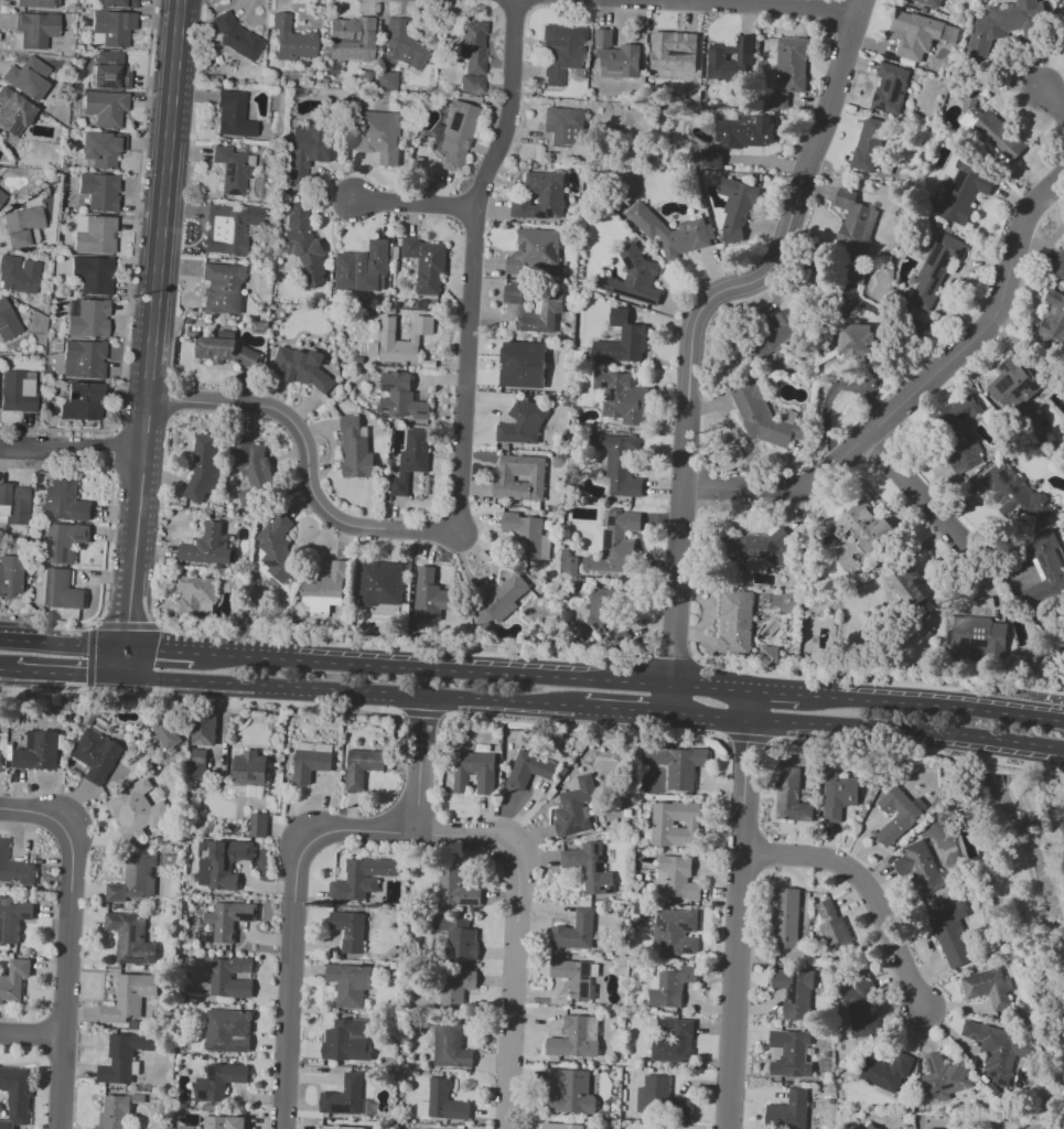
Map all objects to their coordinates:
road: (0, 2)
building: (931, 2)
building: (37, 3)
building: (119, 3)
road: (785, 3)
building: (1009, 18)
building: (112, 28)
building: (36, 29)
rooftop solar panel: (948, 30)
building: (236, 36)
building: (916, 36)
building: (290, 40)
building: (1063, 42)
building: (354, 44)
building: (404, 45)
building: (473, 47)
building: (1063, 50)
building: (670, 53)
building: (617, 54)
building: (563, 55)
building: (718, 62)
building: (792, 64)
building: (110, 72)
rooftop solar panel: (115, 75)
rooftop solar panel: (95, 77)
building: (28, 78)
building: (386, 83)
rooftop solar panel: (104, 85)
building: (471, 85)
building: (890, 86)
building: (778, 100)
road: (1053, 101)
building: (106, 107)
building: (970, 107)
building: (13, 111)
building: (230, 116)
building: (563, 126)
rooftop solar panel: (437, 131)
building: (744, 131)
building: (455, 132)
building: (377, 135)
building: (1000, 138)
building: (868, 144)
building: (100, 150)
building: (307, 150)
building: (712, 159)
rooftop solar panel: (229, 170)
building: (230, 170)
building: (100, 191)
rooftop solar panel: (230, 191)
building: (963, 191)
building: (540, 195)
building: (2, 196)
road: (163, 198)
building: (735, 198)
road: (413, 202)
building: (856, 215)
building: (23, 226)
building: (230, 229)
building: (673, 232)
building: (95, 234)
building: (303, 244)
rooftop solar panel: (524, 247)
rooftop solar panel: (551, 251)
building: (537, 252)
road: (472, 261)
building: (426, 264)
building: (1060, 266)
building: (364, 267)
building: (937, 269)
road: (131, 272)
building: (94, 273)
building: (19, 275)
building: (633, 277)
road: (949, 281)
building: (855, 283)
building: (222, 289)
rooftop solar panel: (637, 295)
building: (536, 309)
building: (1055, 310)
building: (88, 318)
building: (8, 321)
road: (694, 327)
building: (778, 332)
building: (401, 334)
building: (856, 340)
building: (622, 341)
building: (226, 351)
building: (84, 358)
building: (525, 366)
rooftop solar panel: (1006, 367)
building: (305, 369)
rooftop solar panel: (605, 383)
rooftop solar panel: (1008, 383)
rooftop solar panel: (1027, 386)
road: (915, 390)
building: (1018, 390)
building: (19, 391)
road: (830, 391)
rooftop solar panel: (612, 394)
building: (45, 396)
building: (622, 397)
building: (405, 398)
building: (82, 400)
building: (760, 415)
building: (523, 423)
road: (733, 431)
building: (959, 431)
rooftop solar panel: (975, 445)
road: (73, 449)
building: (357, 449)
road: (111, 451)
road: (305, 459)
building: (411, 460)
building: (617, 465)
building: (203, 467)
building: (255, 470)
rooftop solar panel: (1003, 472)
building: (519, 479)
rooftop solar panel: (1014, 491)
building: (40, 494)
road: (917, 495)
building: (65, 502)
building: (14, 504)
rooftop solar panel: (611, 519)
building: (864, 526)
building: (528, 534)
road: (137, 537)
rooftop solar panel: (609, 538)
road: (108, 540)
building: (64, 541)
building: (615, 542)
building: (208, 546)
building: (277, 547)
building: (761, 547)
rooftop solar panel: (1040, 559)
rooftop solar panel: (272, 563)
building: (569, 564)
building: (1050, 569)
building: (11, 574)
building: (381, 581)
building: (907, 587)
building: (57, 589)
building: (325, 590)
building: (196, 593)
building: (429, 595)
building: (505, 598)
building: (608, 613)
building: (735, 621)
traffic signals: (128, 622)
road: (93, 624)
building: (977, 638)
road: (63, 642)
road: (396, 647)
traffic signals: (157, 649)
road: (160, 649)
road: (666, 657)
road: (8, 668)
road: (473, 669)
road: (68, 673)
traffic signals: (85, 674)
road: (853, 679)
road: (1028, 687)
road: (1050, 689)
road: (44, 690)
road: (776, 690)
road: (353, 691)
road: (244, 699)
road: (903, 702)
road: (626, 711)
road: (1020, 712)
road: (421, 713)
road: (1050, 716)
road: (583, 724)
road: (830, 727)
building: (204, 728)
building: (168, 732)
road: (746, 739)
road: (1006, 741)
road: (1043, 746)
building: (39, 750)
building: (97, 755)
building: (0, 760)
building: (312, 760)
building: (198, 763)
road: (419, 764)
building: (364, 766)
building: (685, 767)
building: (250, 768)
building: (531, 768)
building: (485, 784)
building: (839, 794)
building: (789, 795)
rooftop solar panel: (568, 805)
building: (576, 808)
building: (139, 809)
building: (899, 814)
building: (662, 822)
building: (259, 824)
rooftop solar panel: (574, 829)
building: (203, 845)
rooftop solar panel: (237, 849)
building: (224, 863)
building: (589, 865)
building: (922, 865)
building: (14, 868)
building: (362, 878)
building: (677, 879)
building: (135, 880)
building: (458, 889)
road: (870, 889)
rooftop solar panel: (4, 903)
road: (739, 908)
building: (826, 910)
rooftop solar panel: (30, 916)
rooftop solar panel: (248, 916)
building: (785, 916)
building: (13, 918)
building: (229, 918)
rooftop solar panel: (662, 921)
rooftop solar panel: (1, 926)
rooftop solar panel: (687, 926)
building: (576, 927)
road: (298, 928)
building: (351, 929)
rooftop solar panel: (137, 931)
building: (675, 933)
building: (957, 934)
road: (520, 935)
building: (131, 937)
building: (837, 937)
building: (458, 938)
road: (68, 946)
rooftop solar panel: (688, 950)
rooftop solar panel: (585, 971)
building: (232, 977)
building: (13, 980)
building: (579, 980)
rooftop solar panel: (585, 980)
building: (351, 983)
building: (670, 986)
building: (990, 987)
building: (453, 988)
rooftop solar panel: (585, 992)
building: (793, 992)
building: (130, 998)
building: (860, 1007)
building: (228, 1030)
rooftop solar panel: (238, 1032)
road: (33, 1033)
building: (577, 1037)
building: (673, 1040)
building: (341, 1041)
building: (451, 1046)
rooftop solar panel: (225, 1047)
building: (999, 1049)
rooftop solar panel: (239, 1050)
building: (792, 1053)
building: (122, 1056)
rooftop solar panel: (216, 1065)
rooftop solar panel: (929, 1065)
building: (888, 1071)
rooftop solar panel: (215, 1074)
building: (945, 1075)
building: (218, 1083)
rooftop solar panel: (945, 1087)
building: (569, 1090)
building: (17, 1093)
rooftop solar panel: (197, 1093)
rooftop solar panel: (205, 1095)
building: (344, 1096)
building: (662, 1100)
building: (442, 1101)
rooftop solar panel: (341, 1107)
building: (115, 1112)
building: (783, 1112)
building: (214, 1122)
building: (236, 1122)
building: (7, 1125)
building: (561, 1126)
building: (186, 1127)
building: (333, 1127)
building: (657, 1127)
building: (872, 1127)
building: (647, 1128)
building: (934, 1128)

